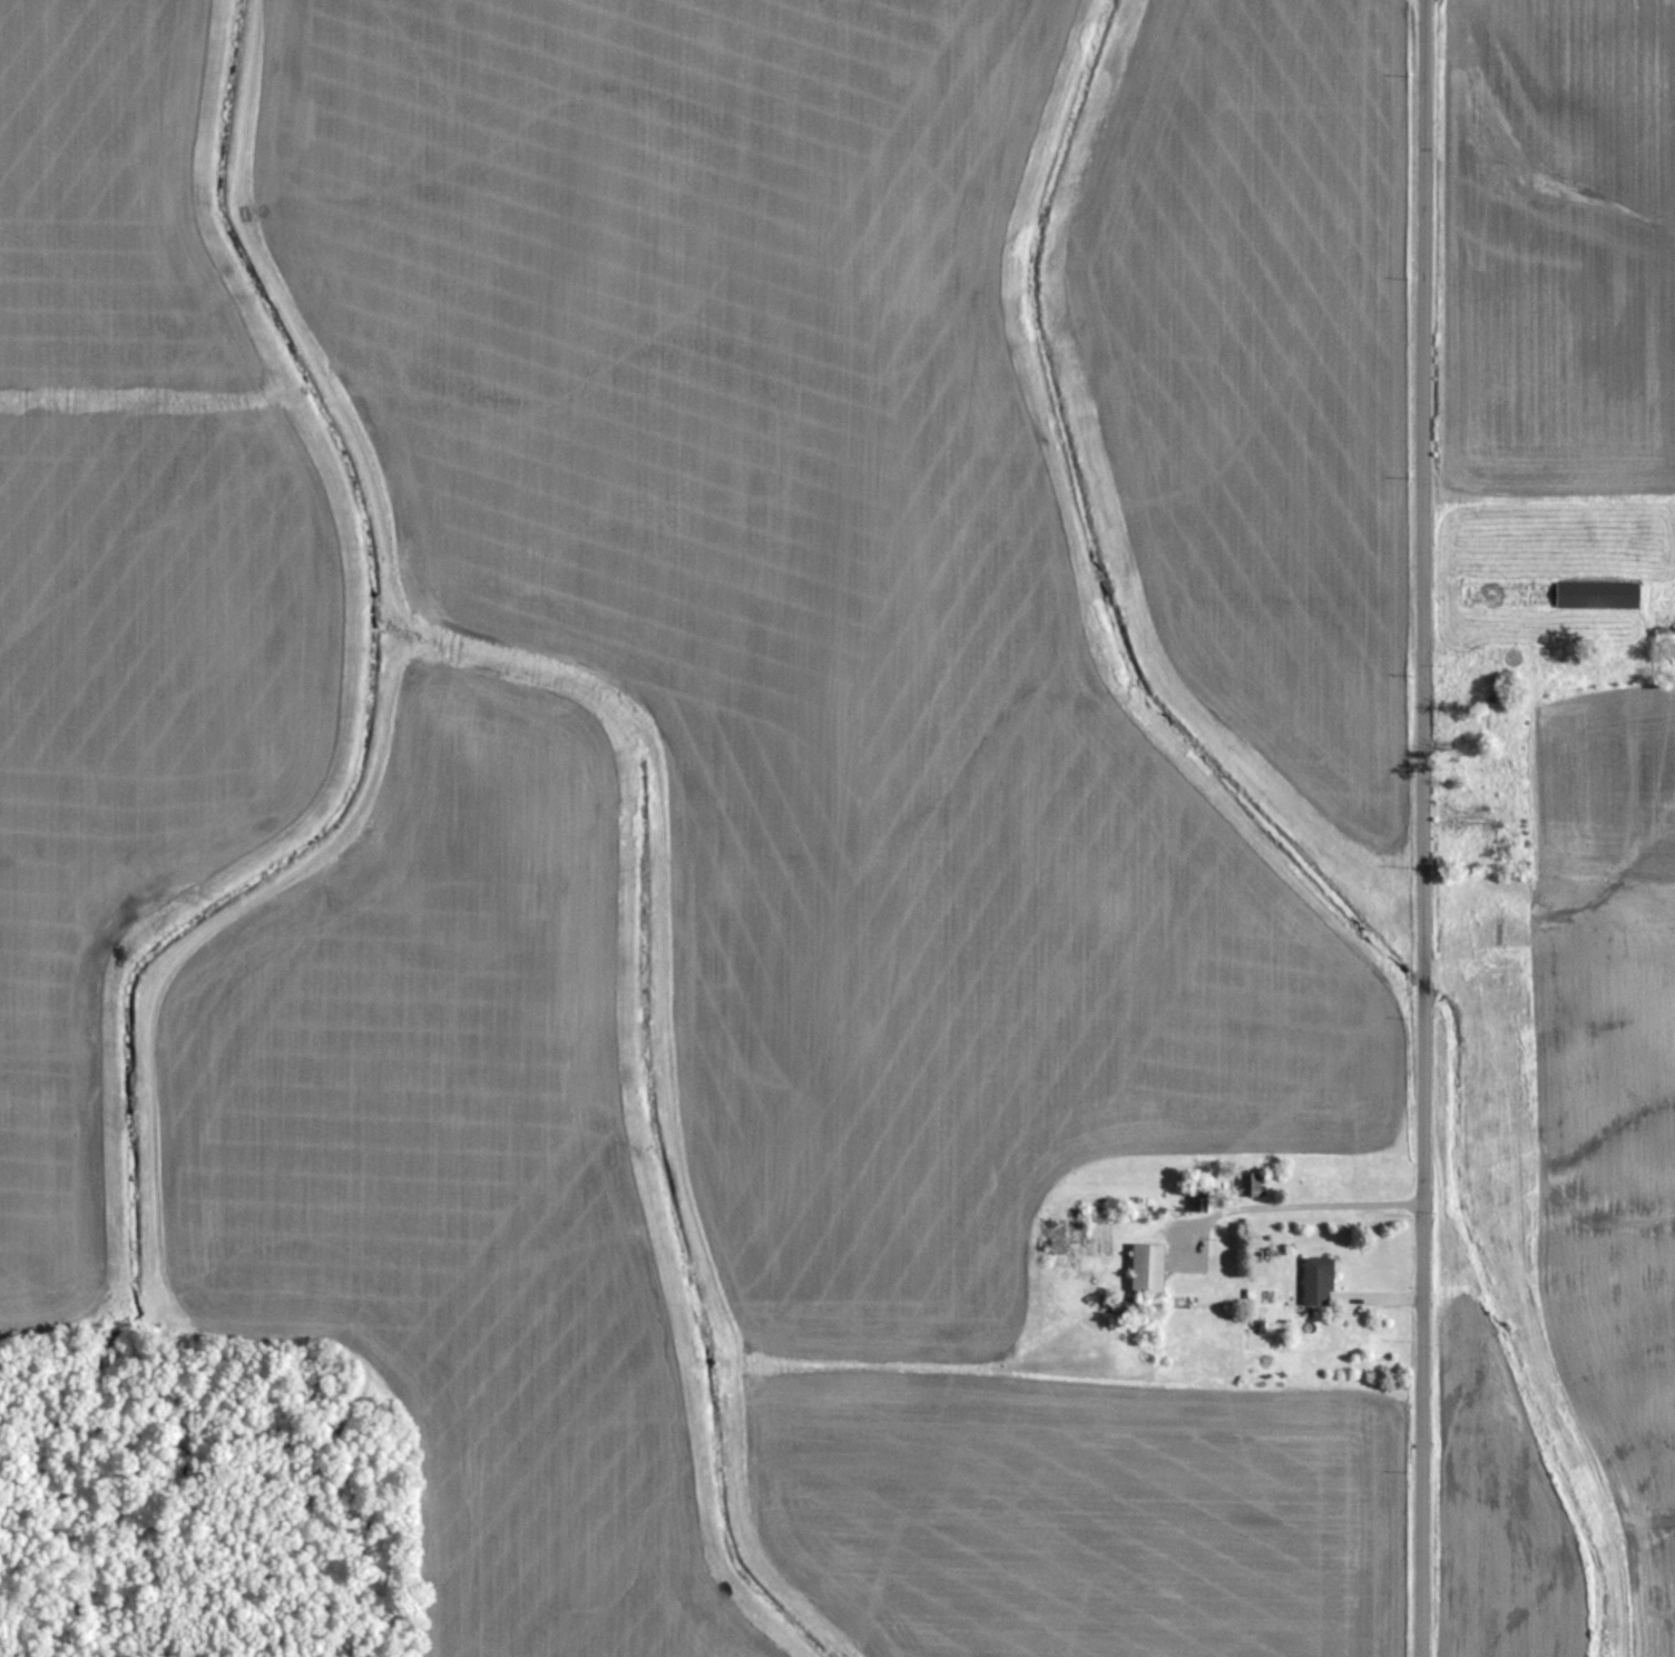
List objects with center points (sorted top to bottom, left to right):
building: (1598, 595)
road: (1419, 828)
building: (1150, 1265)
building: (1319, 1277)

